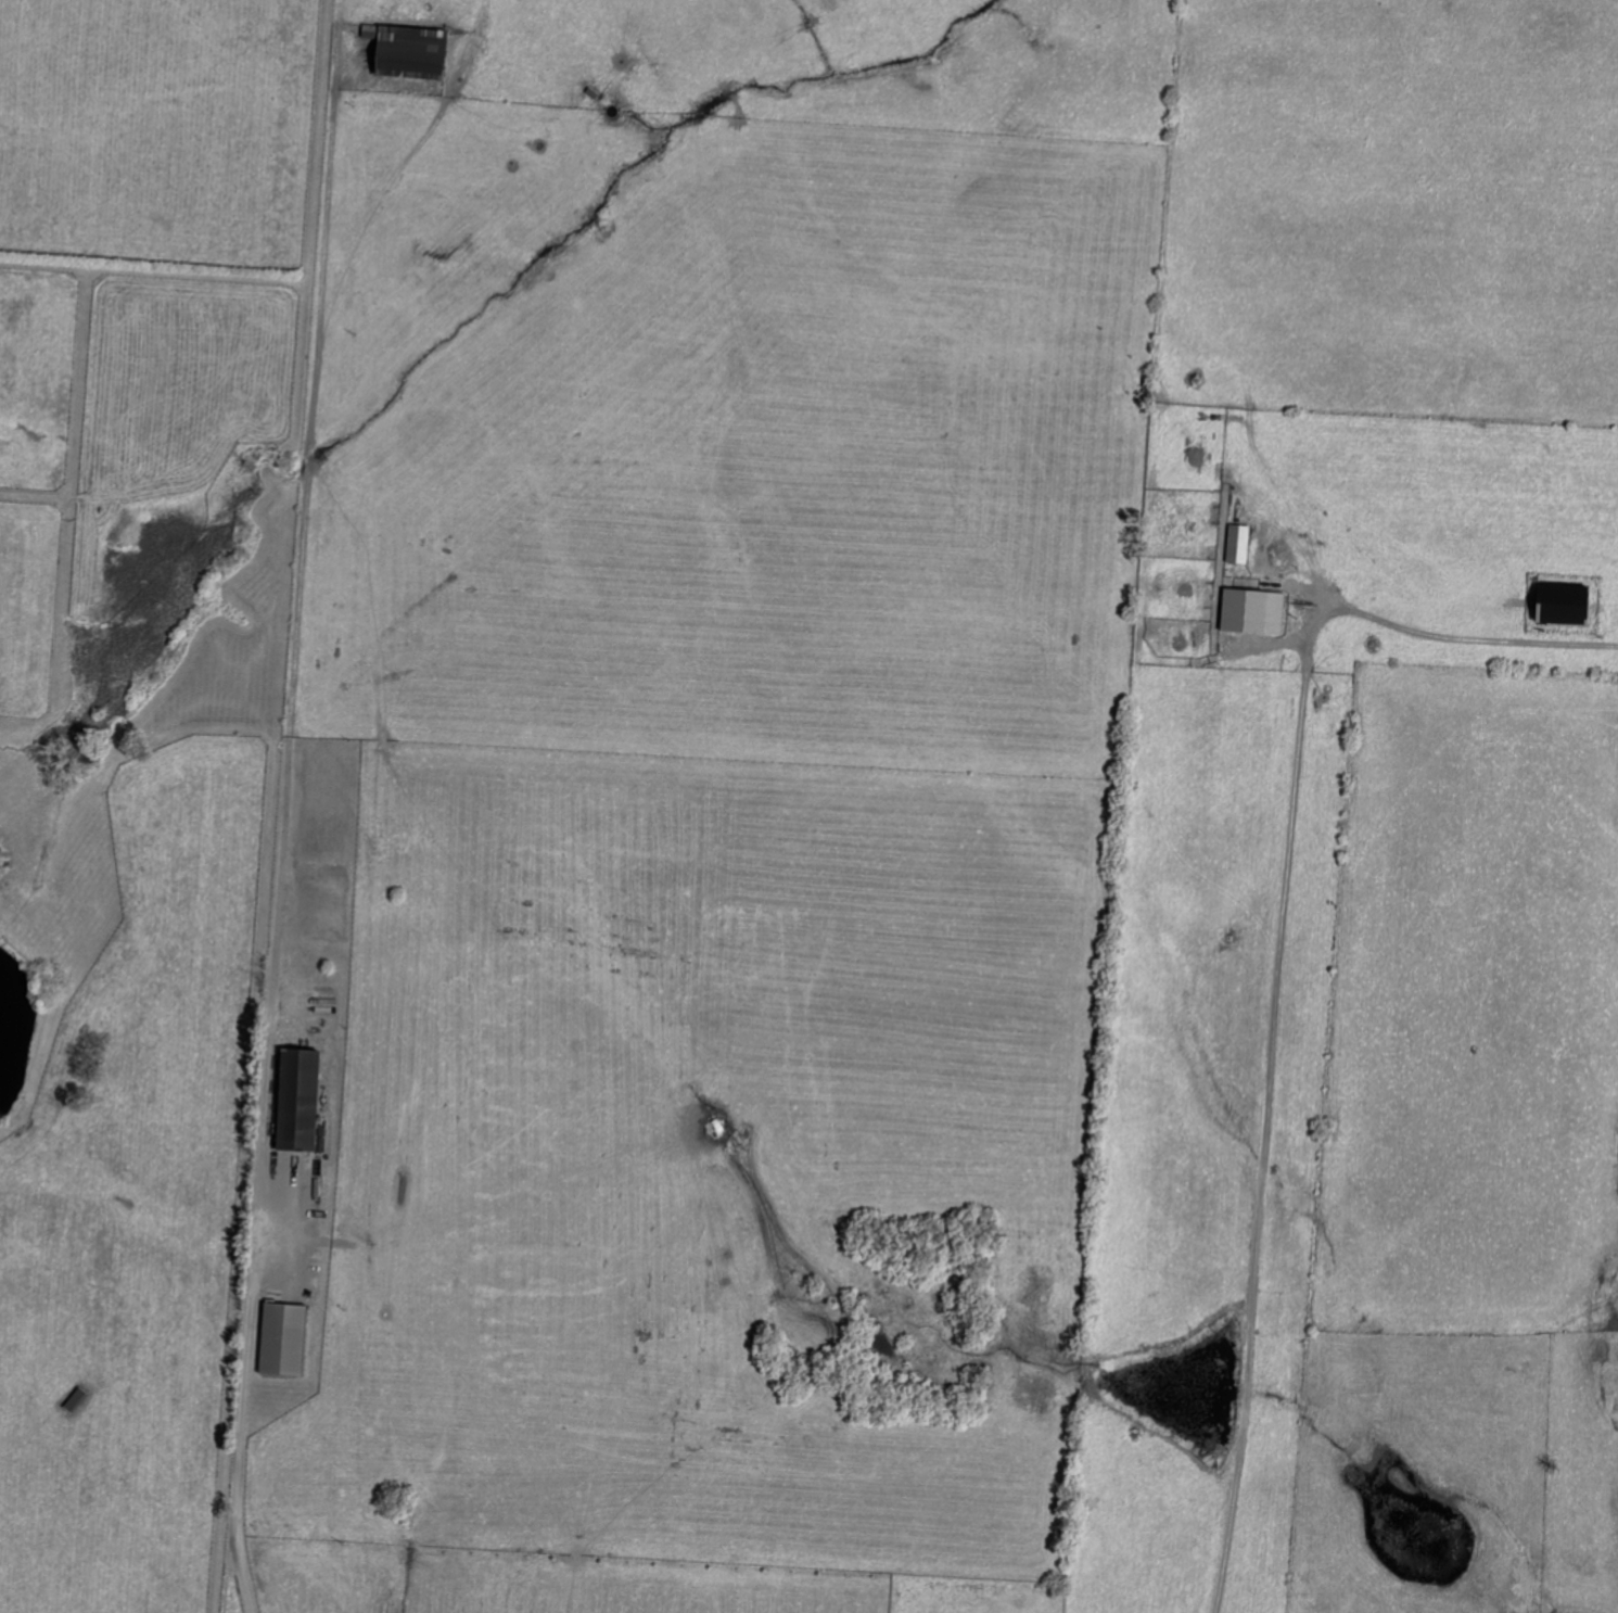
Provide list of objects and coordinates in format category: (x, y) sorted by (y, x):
building: (406, 53)
building: (1236, 545)
building: (1559, 606)
building: (1248, 613)
road: (1277, 963)
building: (295, 1100)
road: (260, 1123)
building: (280, 1339)
building: (74, 1400)

